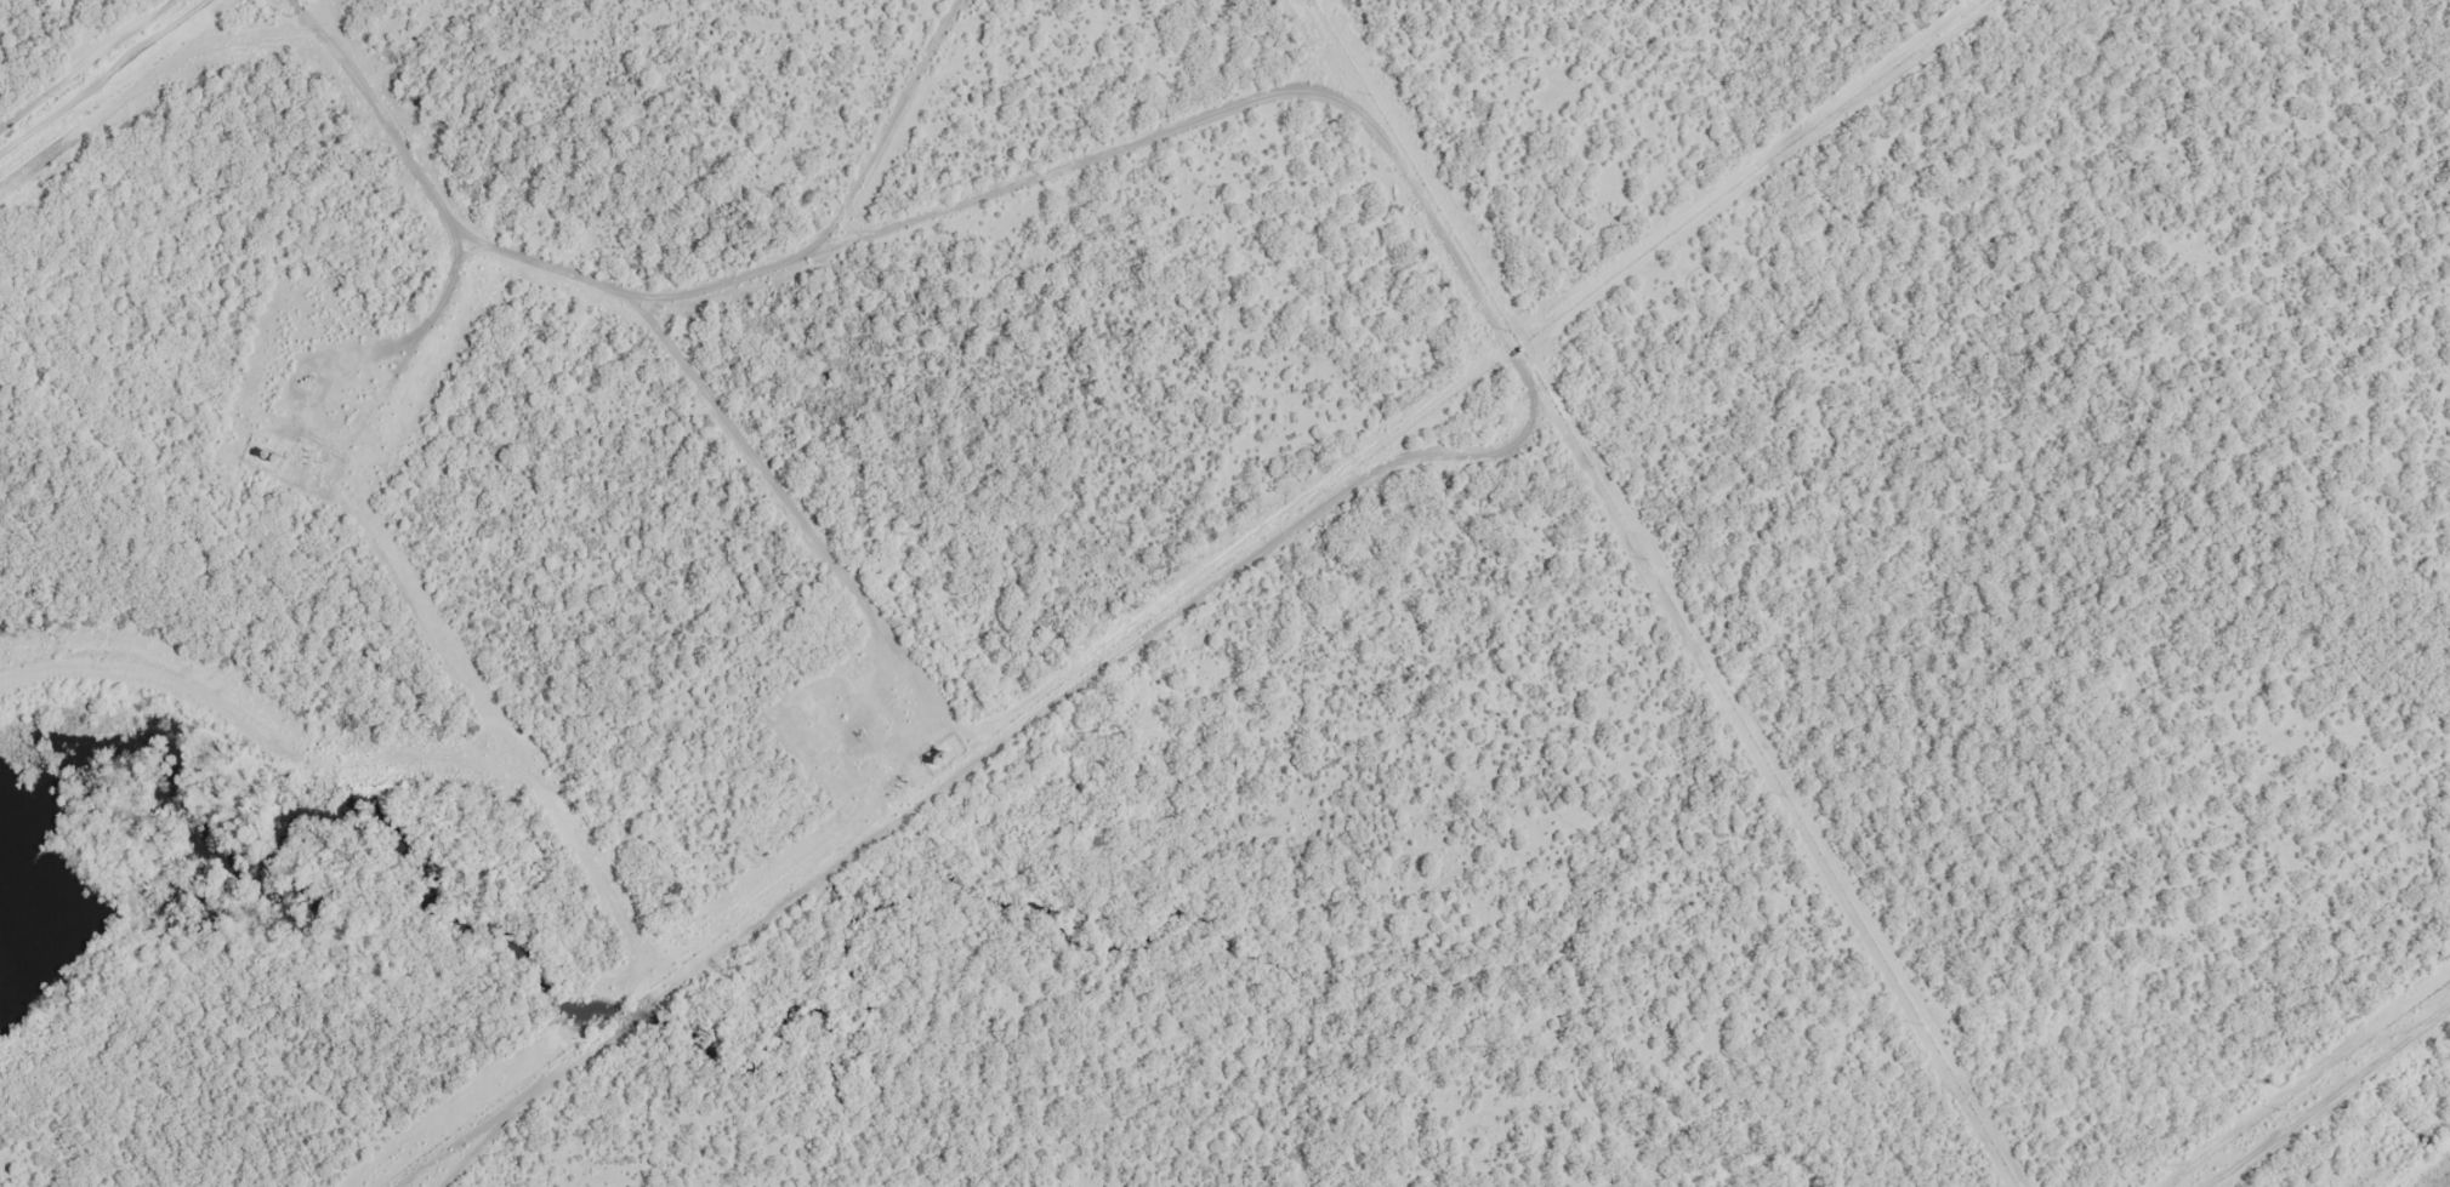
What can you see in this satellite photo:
road: (106, 78)
road: (2321, 1107)

